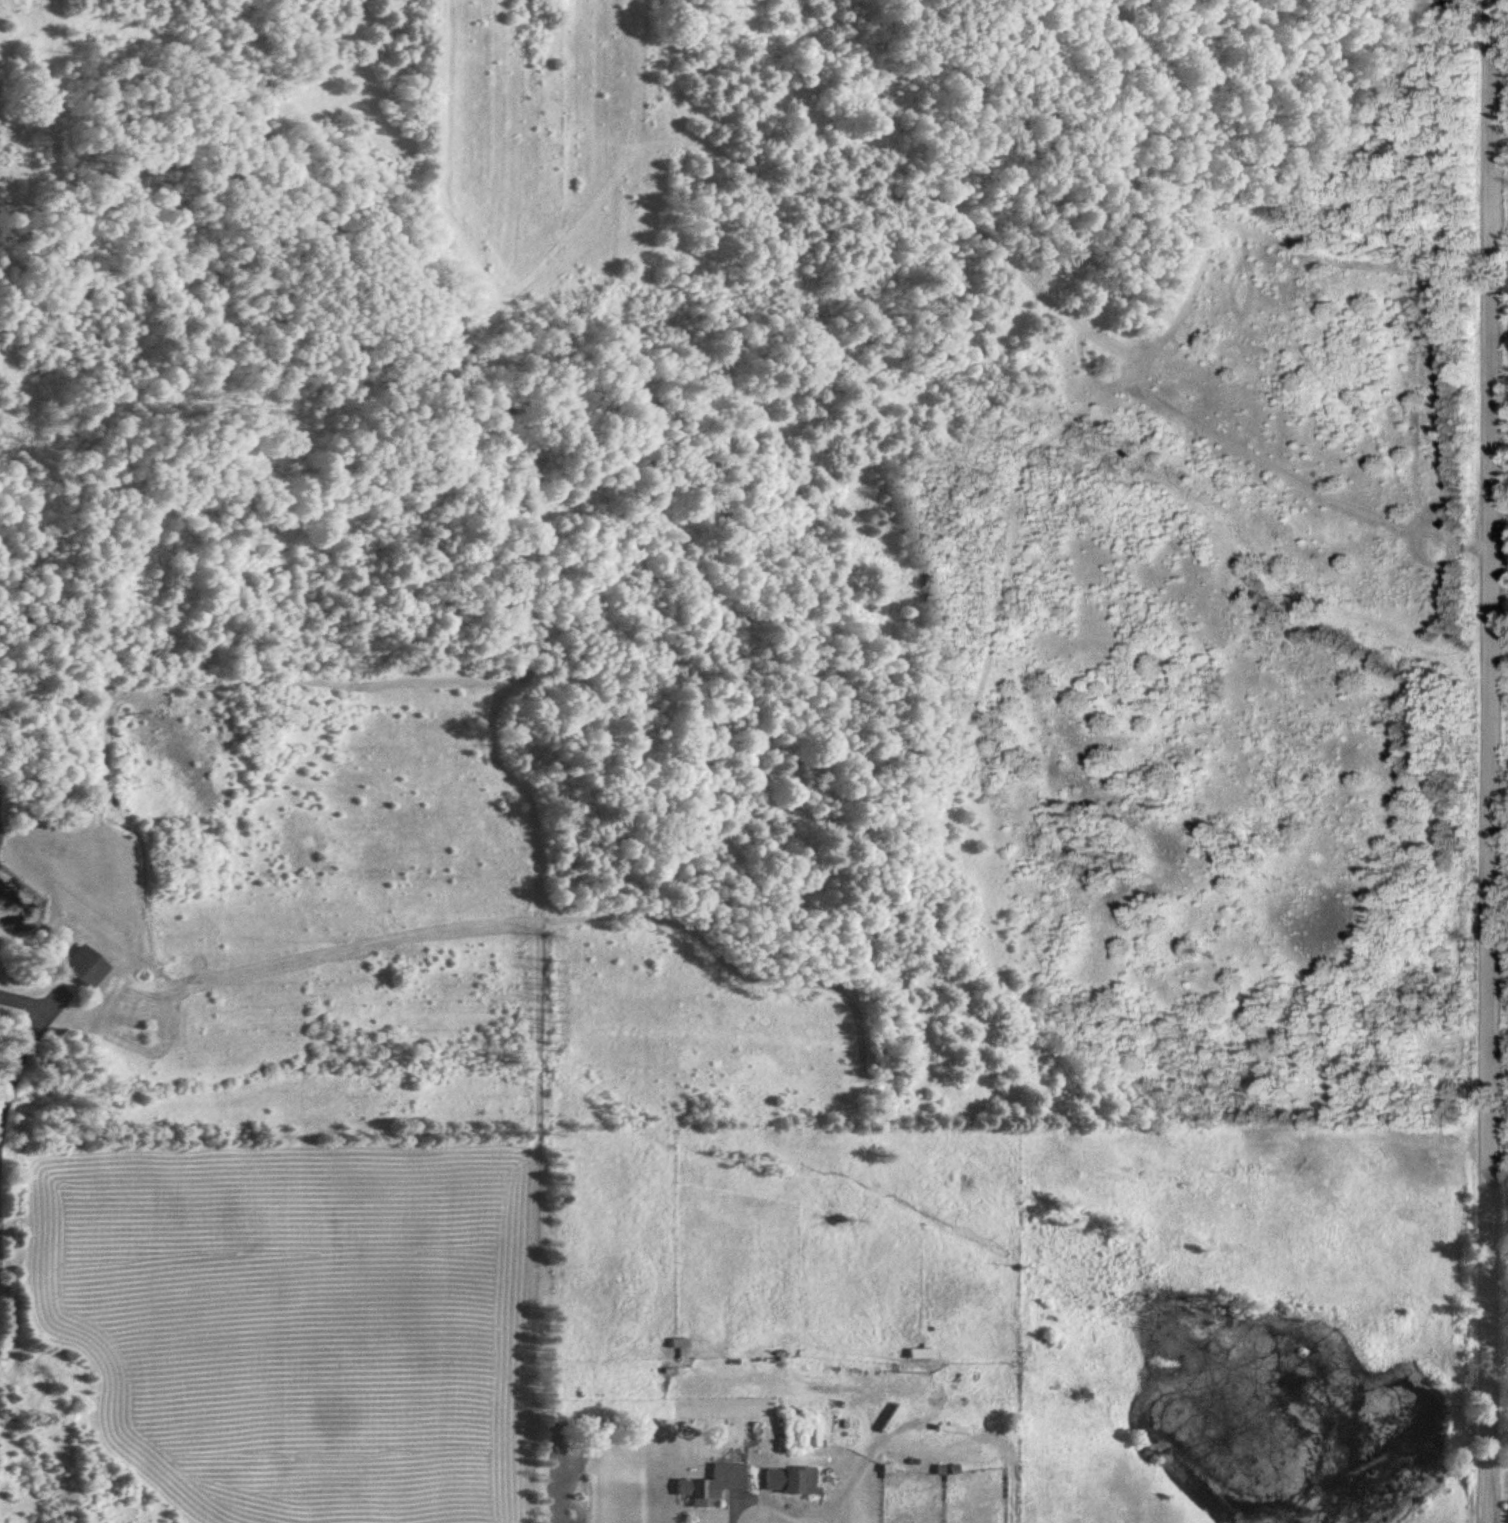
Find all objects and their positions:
road: (1493, 761)
building: (88, 964)
road: (27, 1048)
building: (680, 1342)
building: (923, 1352)
building: (791, 1478)
building: (716, 1481)
road: (765, 1499)

